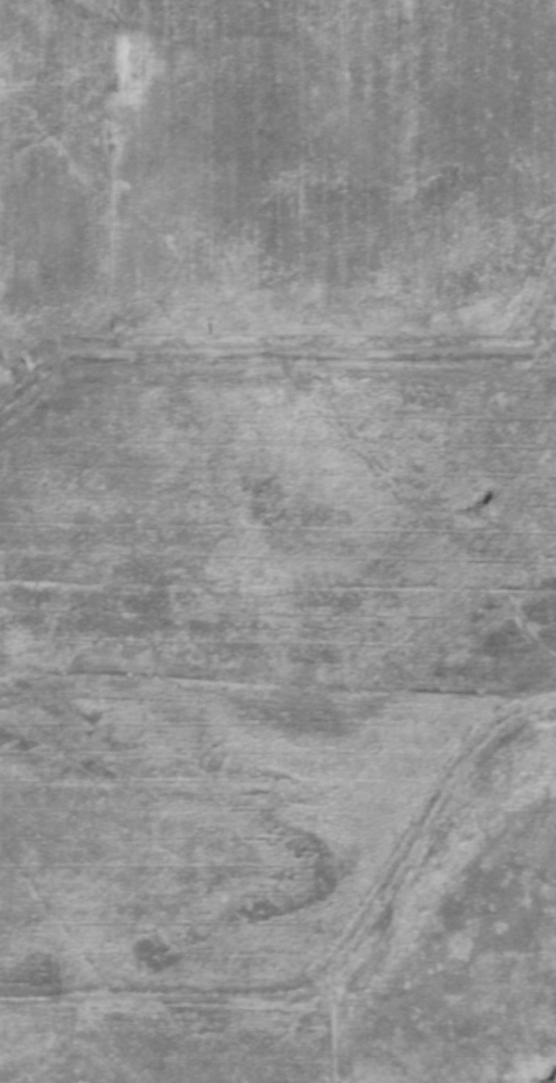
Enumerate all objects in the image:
power tower: (480, 509)

